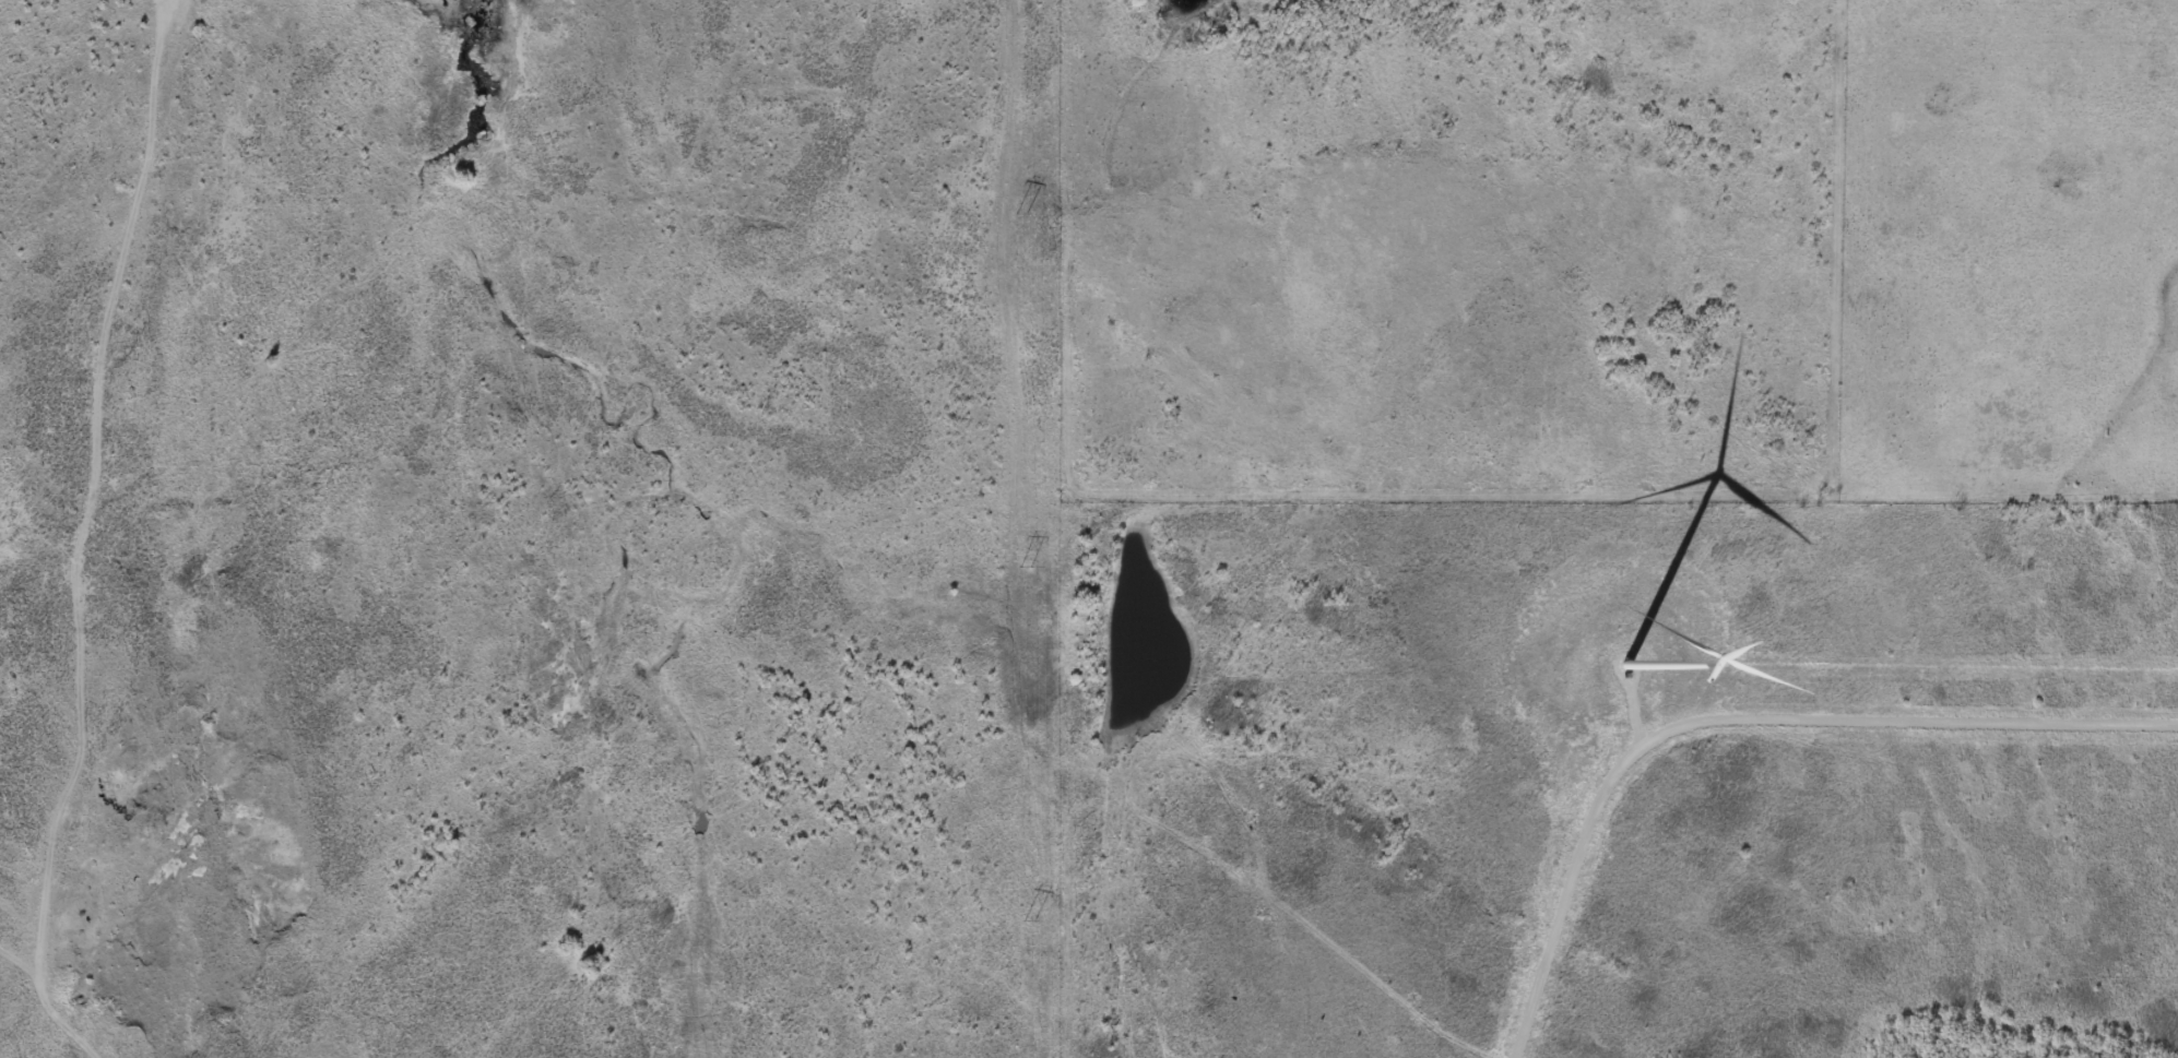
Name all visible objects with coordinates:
road: (1917, 94)
wind turbine: (1622, 650)
road: (1733, 715)

